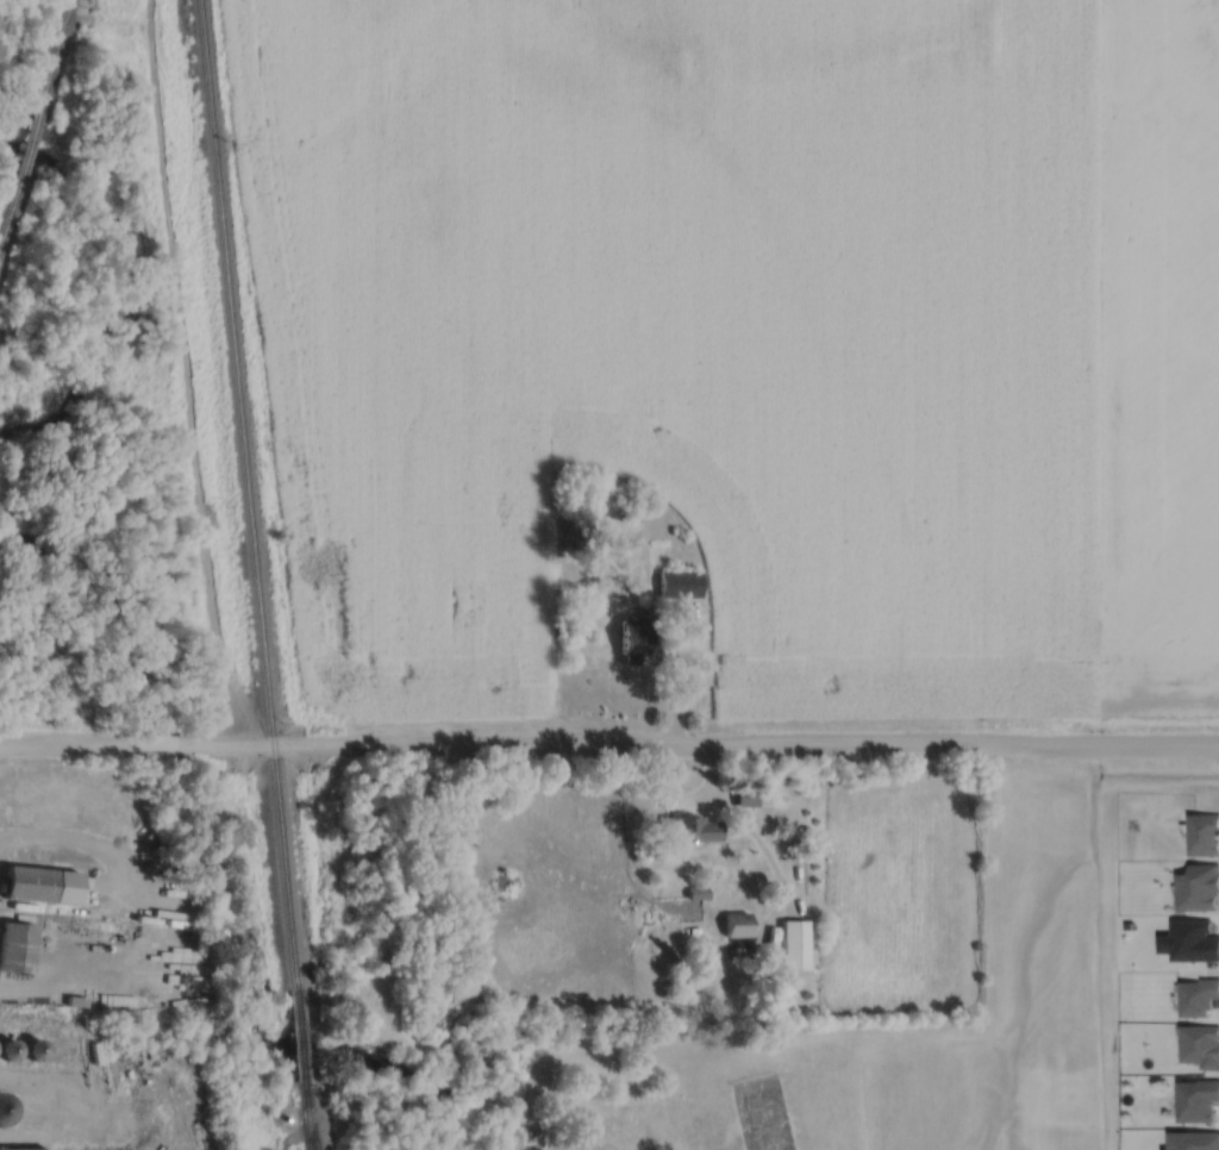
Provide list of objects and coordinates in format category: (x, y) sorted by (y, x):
railway: (57, 58)
railway: (32, 151)
railway: (11, 221)
river: (142, 290)
crop: (684, 336)
crop: (1152, 354)
railway: (243, 499)
building: (679, 583)
building: (631, 637)
road: (68, 740)
road: (158, 743)
road: (699, 745)
road: (684, 796)
building: (745, 799)
building: (694, 830)
building: (1204, 836)
road: (759, 843)
river: (198, 871)
building: (40, 881)
building: (1199, 889)
building: (736, 924)
building: (793, 943)
building: (15, 944)
building: (1198, 996)
railway: (301, 1040)
building: (1198, 1100)
park: (758, 1113)
building: (2, 1114)
railway: (308, 1115)
railway: (312, 1143)
building: (24, 1149)

